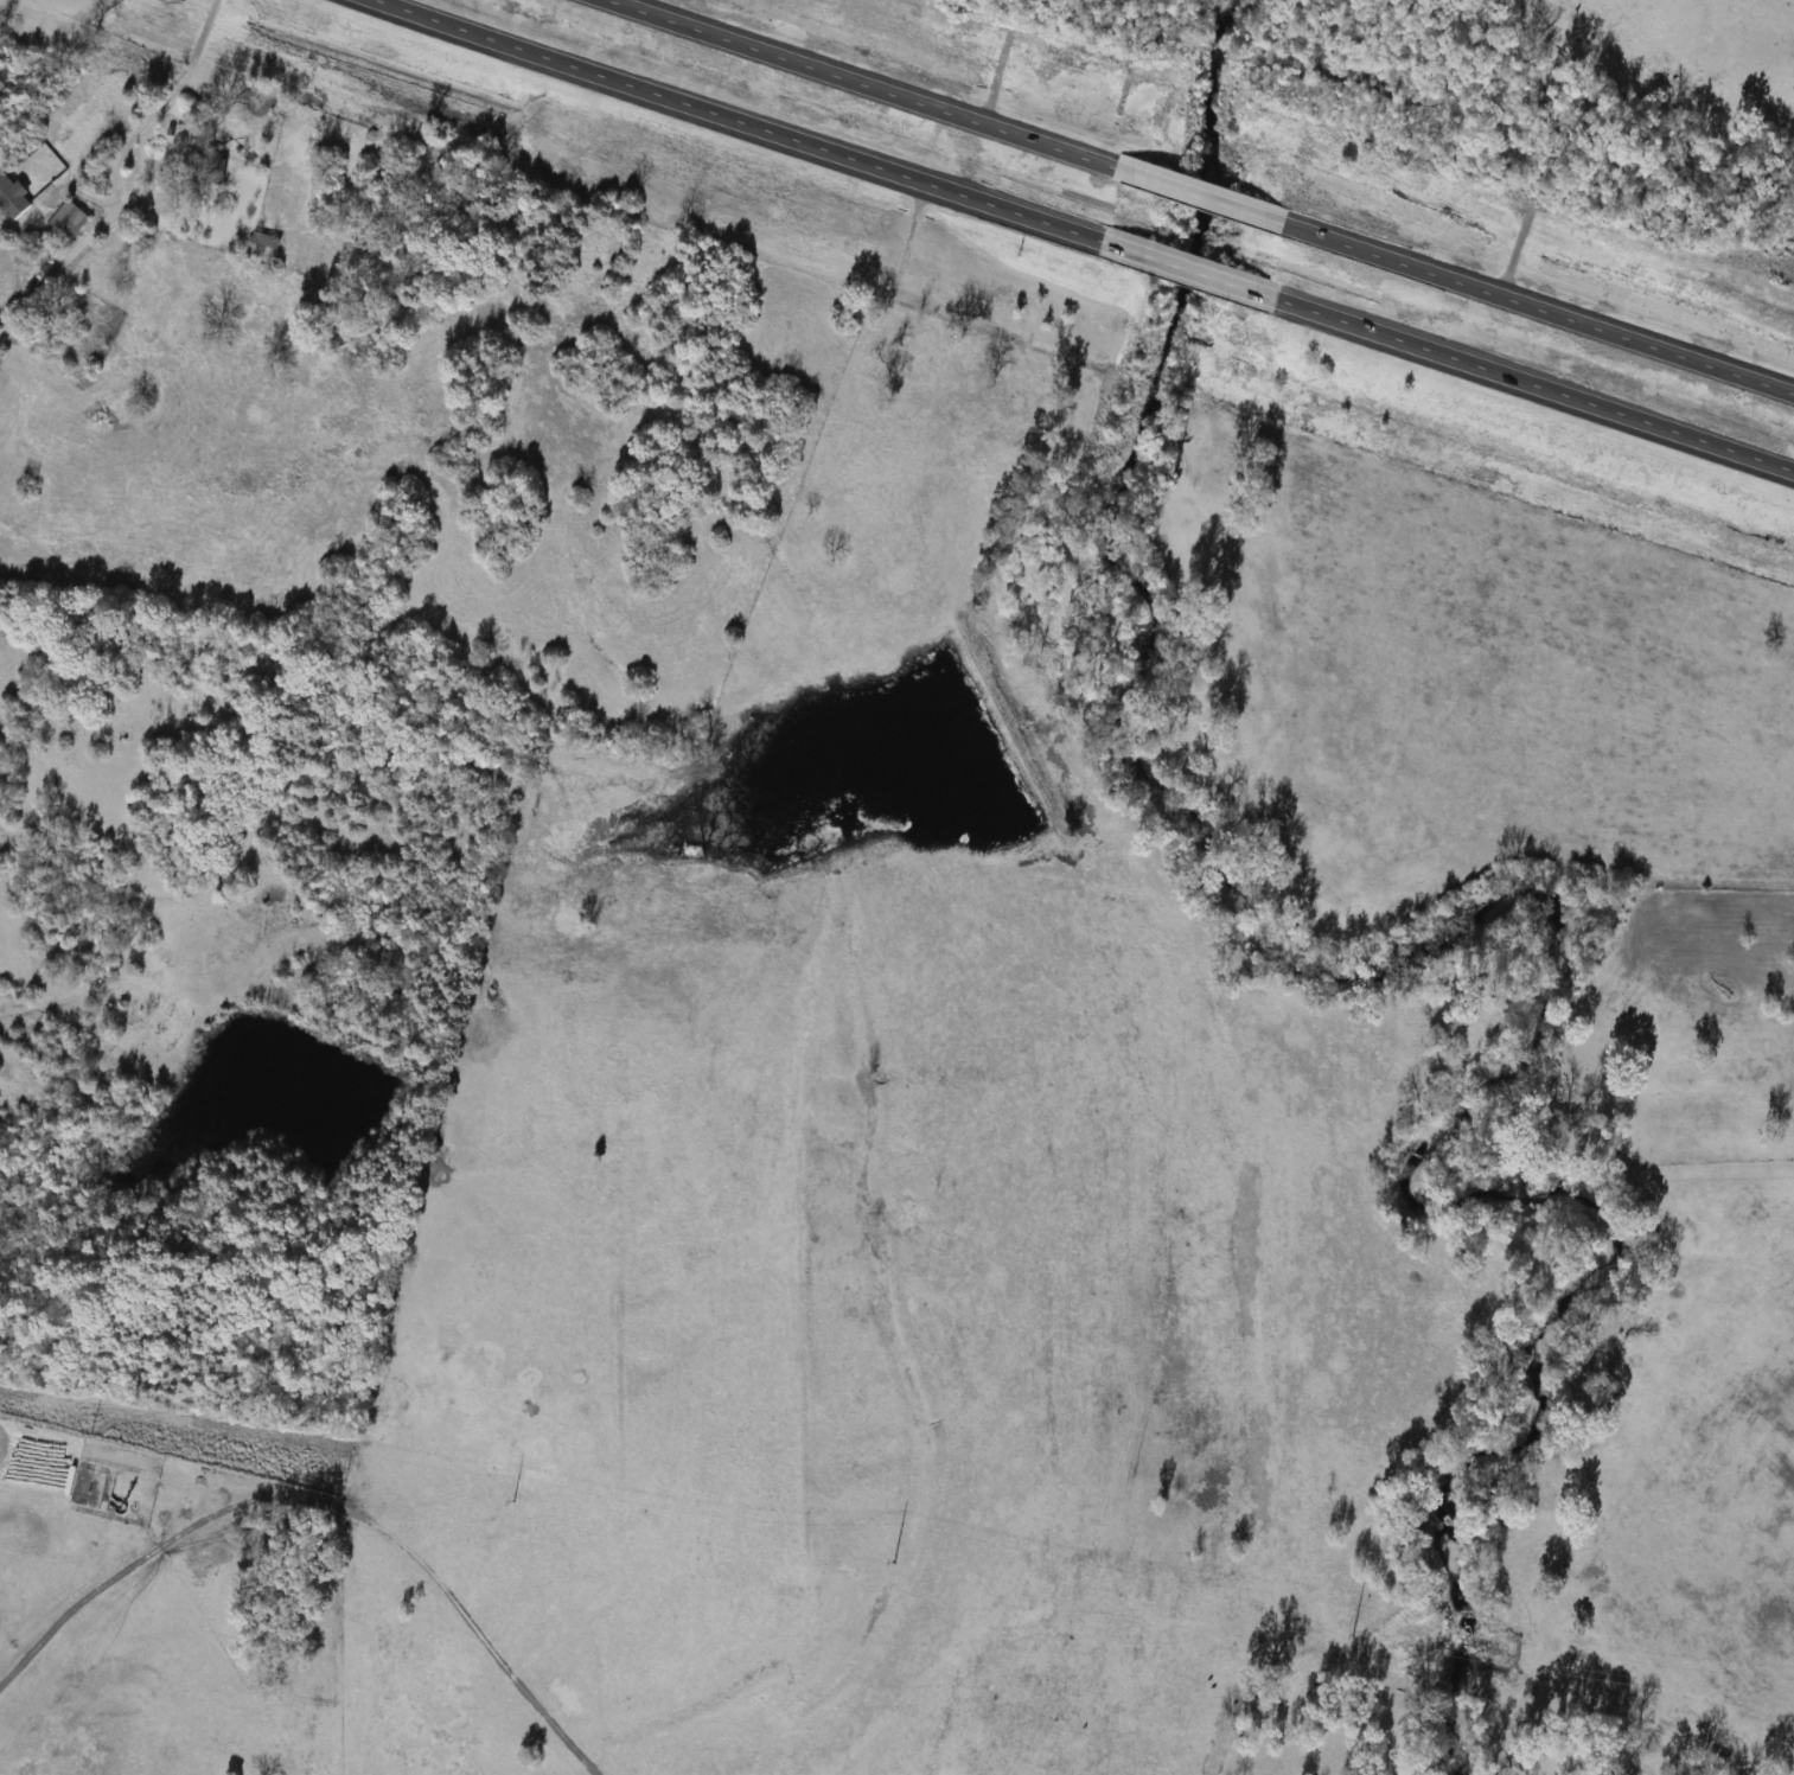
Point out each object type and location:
road: (856, 83)
road: (738, 120)
building: (210, 167)
road: (111, 171)
road: (1196, 196)
building: (63, 221)
building: (262, 240)
road: (1512, 242)
road: (1185, 269)
road: (1538, 308)
road: (1533, 388)
power tower: (91, 1432)
power tower: (515, 1500)
power tower: (894, 1560)
power tower: (1353, 1635)

